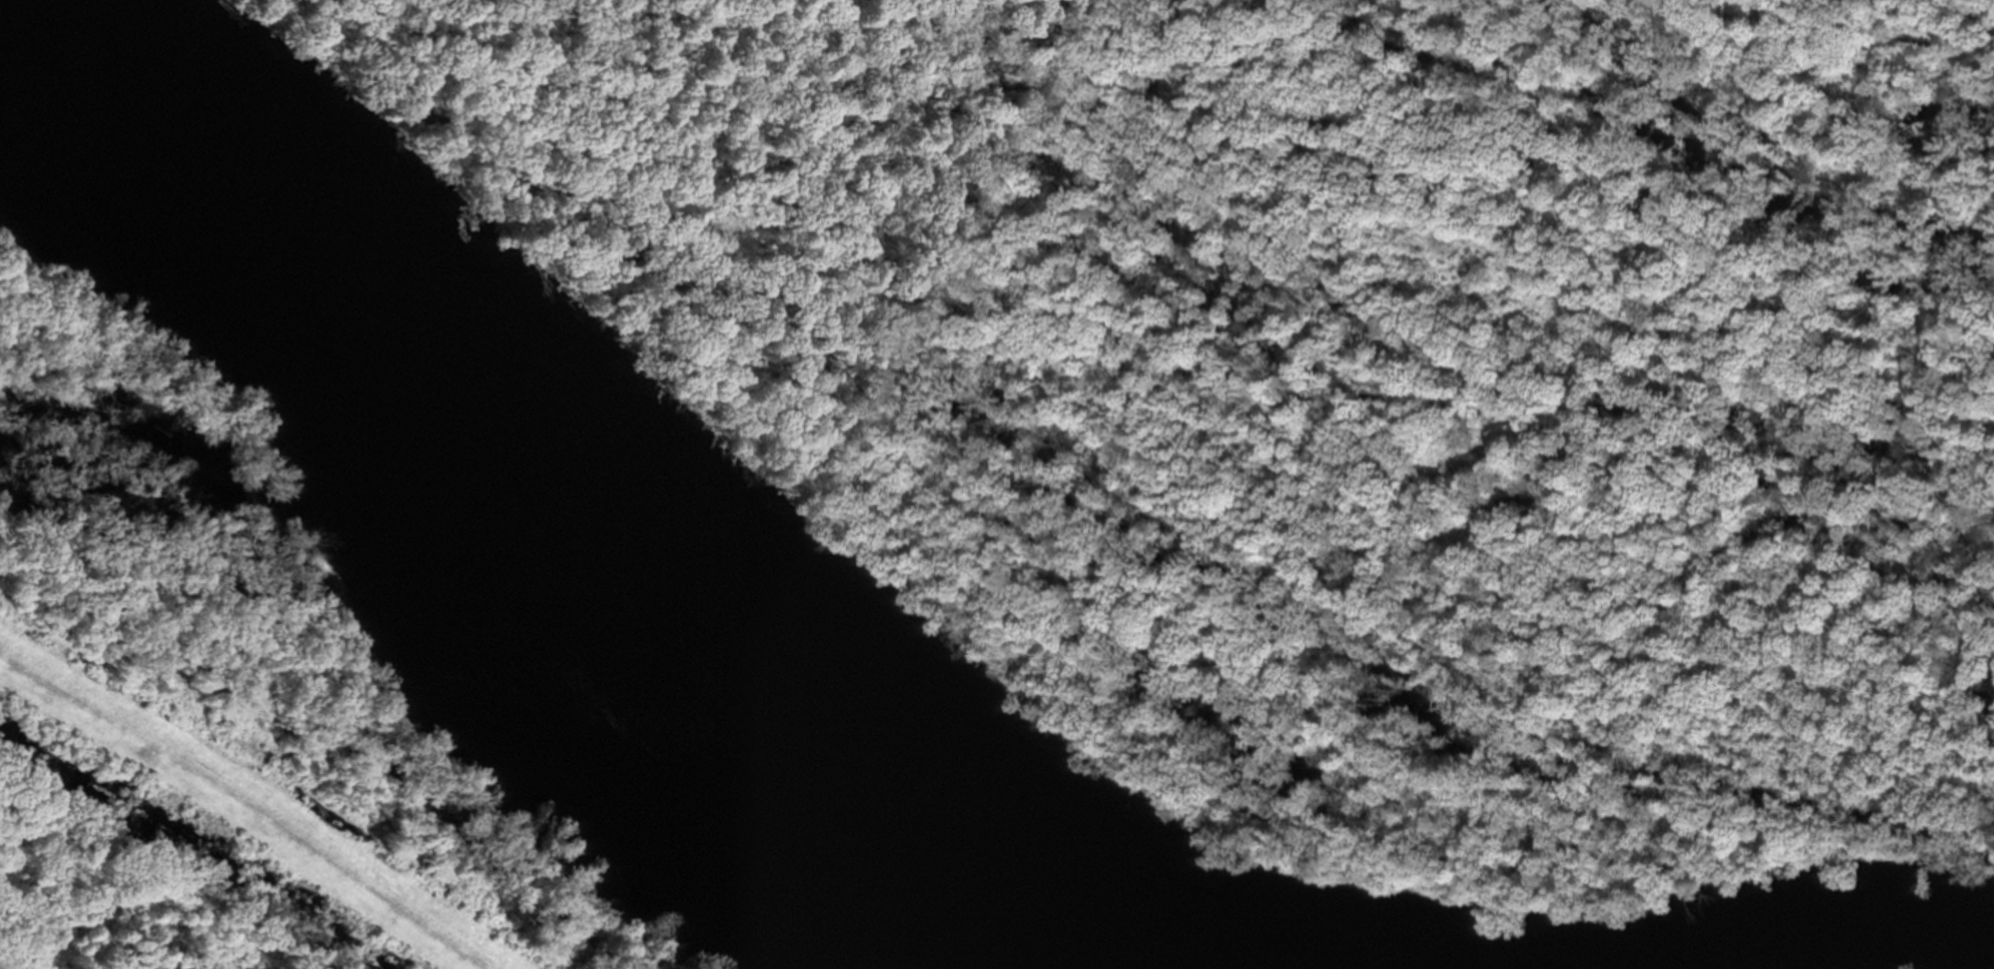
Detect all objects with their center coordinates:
river: (518, 481)
road: (241, 808)

